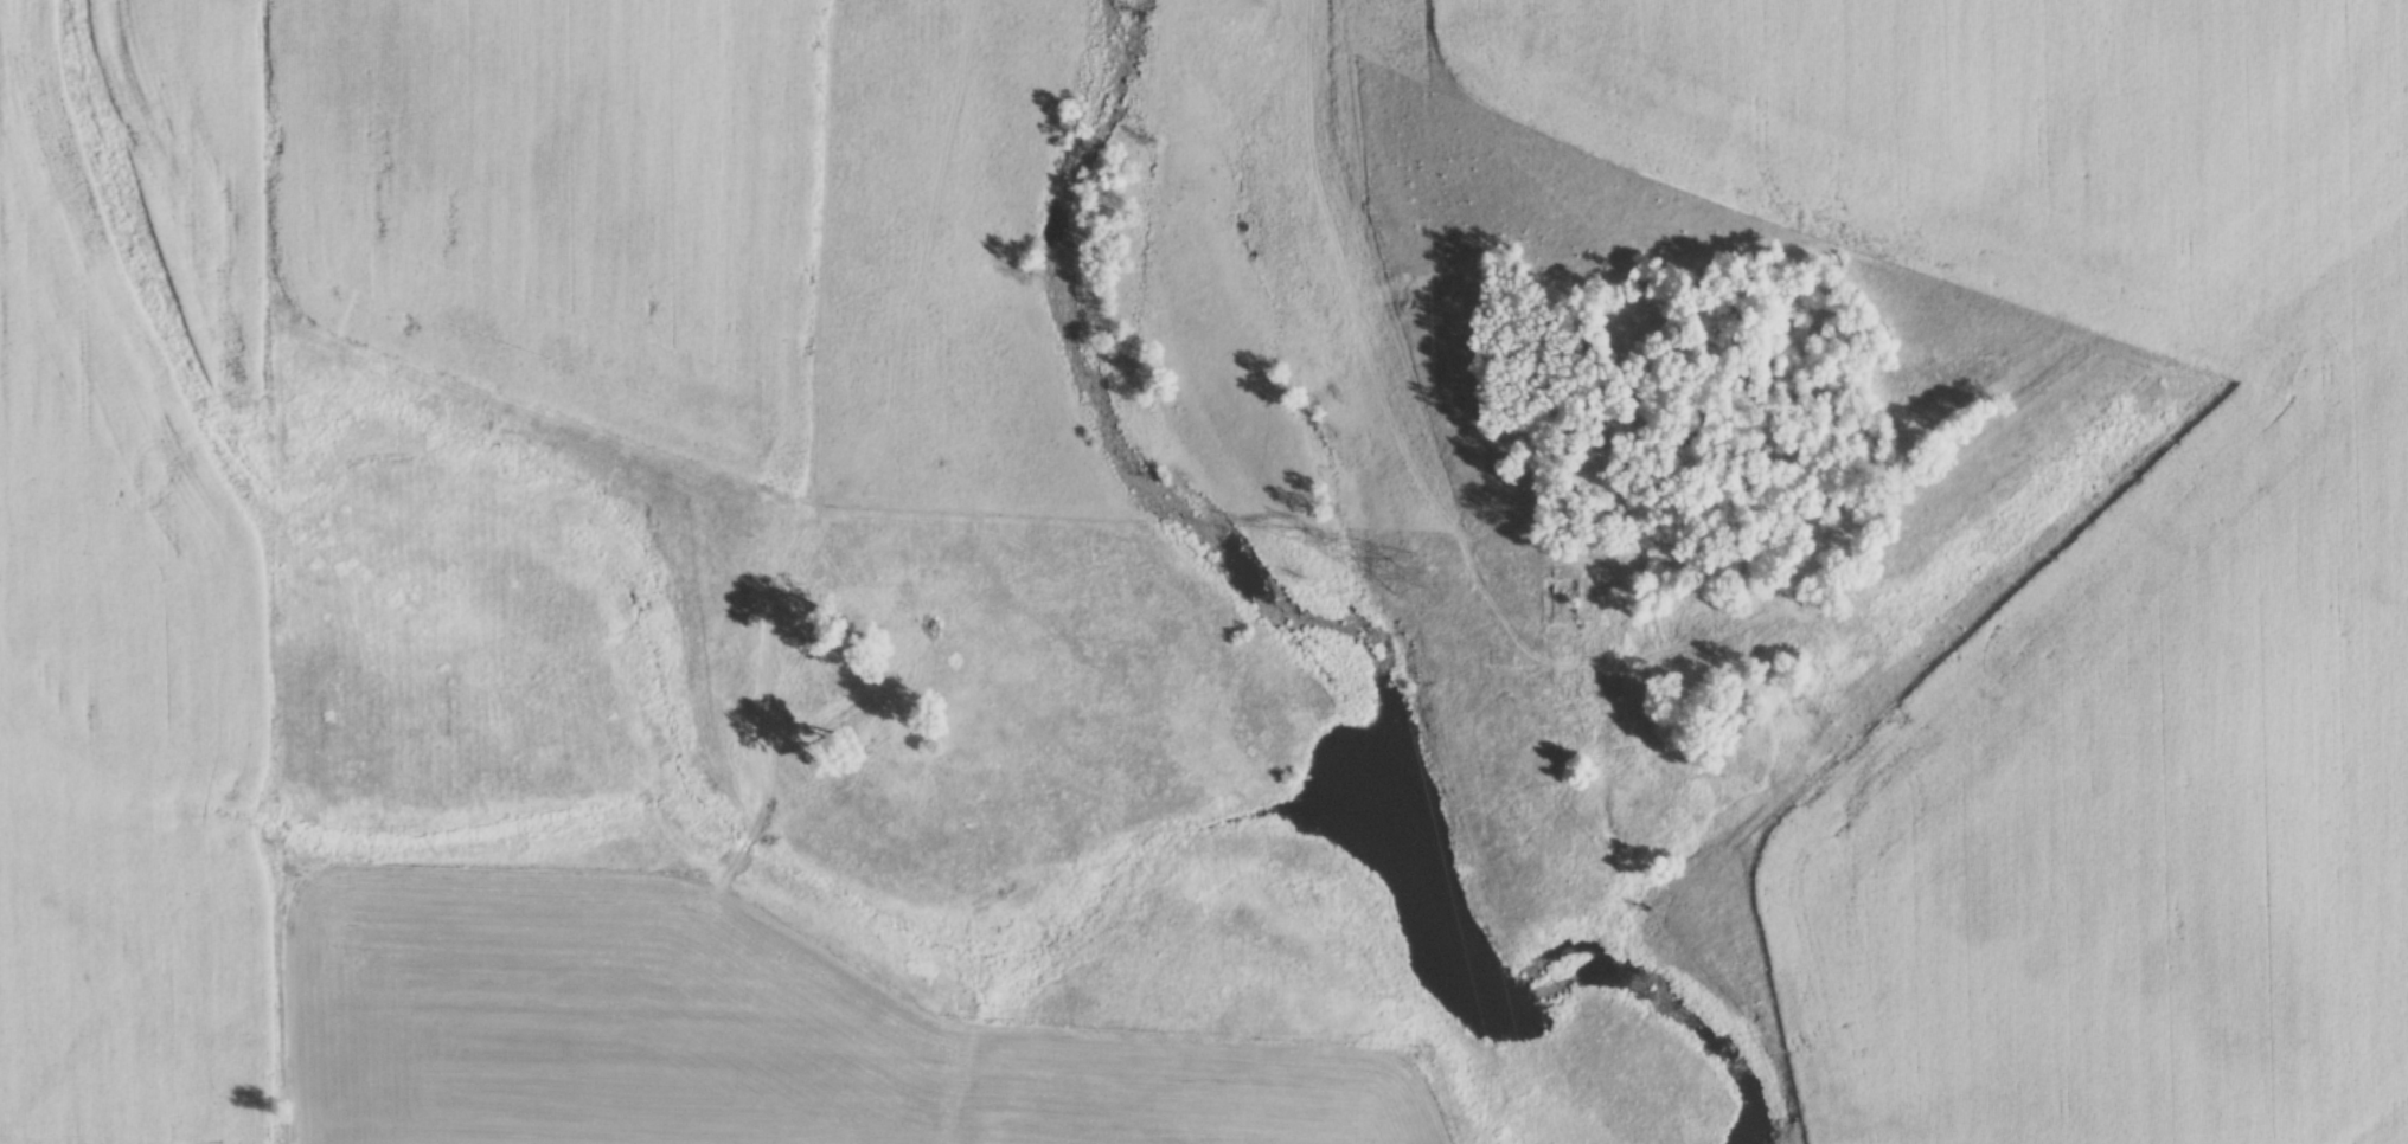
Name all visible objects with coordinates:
crop: (568, 200)
power tower: (1404, 578)
crop: (116, 681)
crop: (739, 1036)

